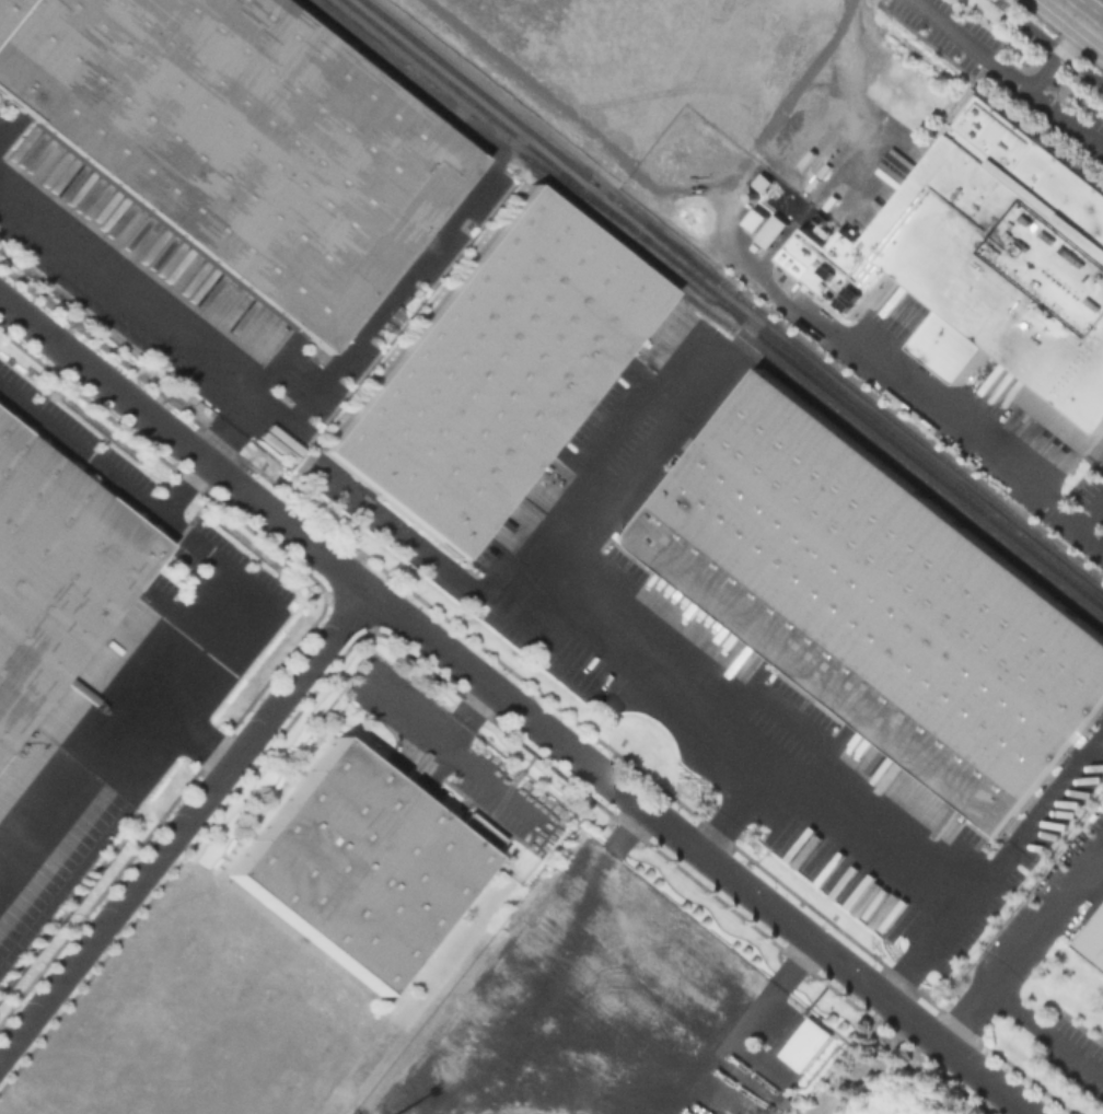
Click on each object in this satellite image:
road: (1080, 18)
road: (1048, 43)
road: (973, 45)
road: (1032, 92)
railway: (463, 128)
building: (237, 144)
building: (775, 230)
building: (991, 277)
road: (131, 282)
railway: (732, 293)
railway: (721, 300)
road: (375, 326)
road: (843, 338)
building: (494, 372)
road: (247, 401)
railway: (818, 404)
road: (614, 417)
road: (185, 488)
road: (1088, 508)
road: (434, 560)
building: (55, 576)
road: (556, 583)
building: (879, 602)
road: (217, 607)
road: (481, 696)
road: (518, 706)
road: (790, 711)
road: (403, 712)
road: (450, 731)
road: (187, 733)
road: (490, 782)
road: (185, 825)
road: (628, 829)
road: (871, 829)
building: (360, 866)
road: (1045, 909)
building: (1095, 943)
road: (798, 962)
road: (1022, 1011)
road: (591, 1041)
building: (806, 1043)

